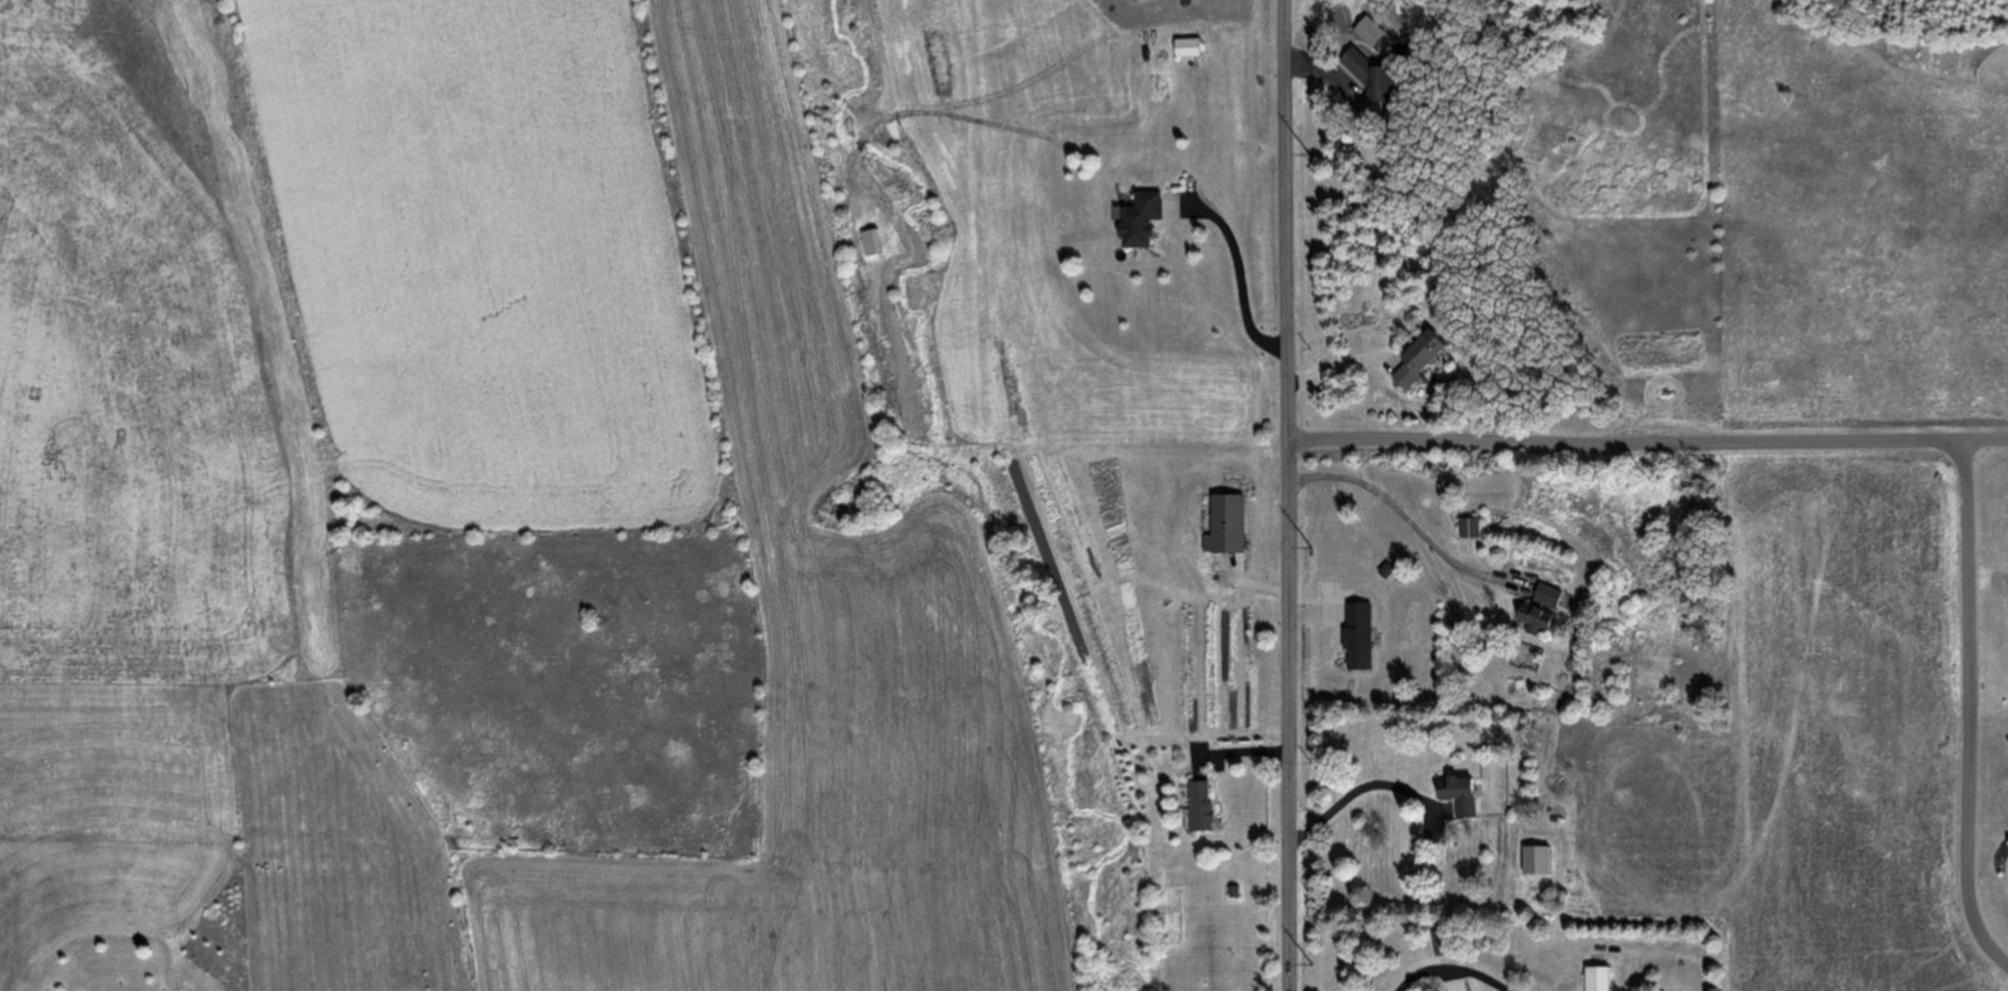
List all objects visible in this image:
building: (1187, 46)
road: (1328, 71)
building: (1373, 73)
building: (1139, 219)
road: (1240, 267)
building: (1418, 357)
road: (1341, 362)
road: (1648, 438)
road: (1291, 495)
road: (1411, 520)
building: (1225, 522)
building: (1470, 526)
road: (1989, 562)
road: (1251, 584)
building: (1547, 595)
road: (1316, 615)
building: (1535, 618)
building: (1358, 634)
road: (1971, 707)
road: (1238, 751)
road: (1358, 788)
building: (1462, 794)
building: (1200, 805)
building: (1445, 940)
road: (1453, 968)
building: (1596, 978)
road: (1451, 979)
building: (1457, 984)

